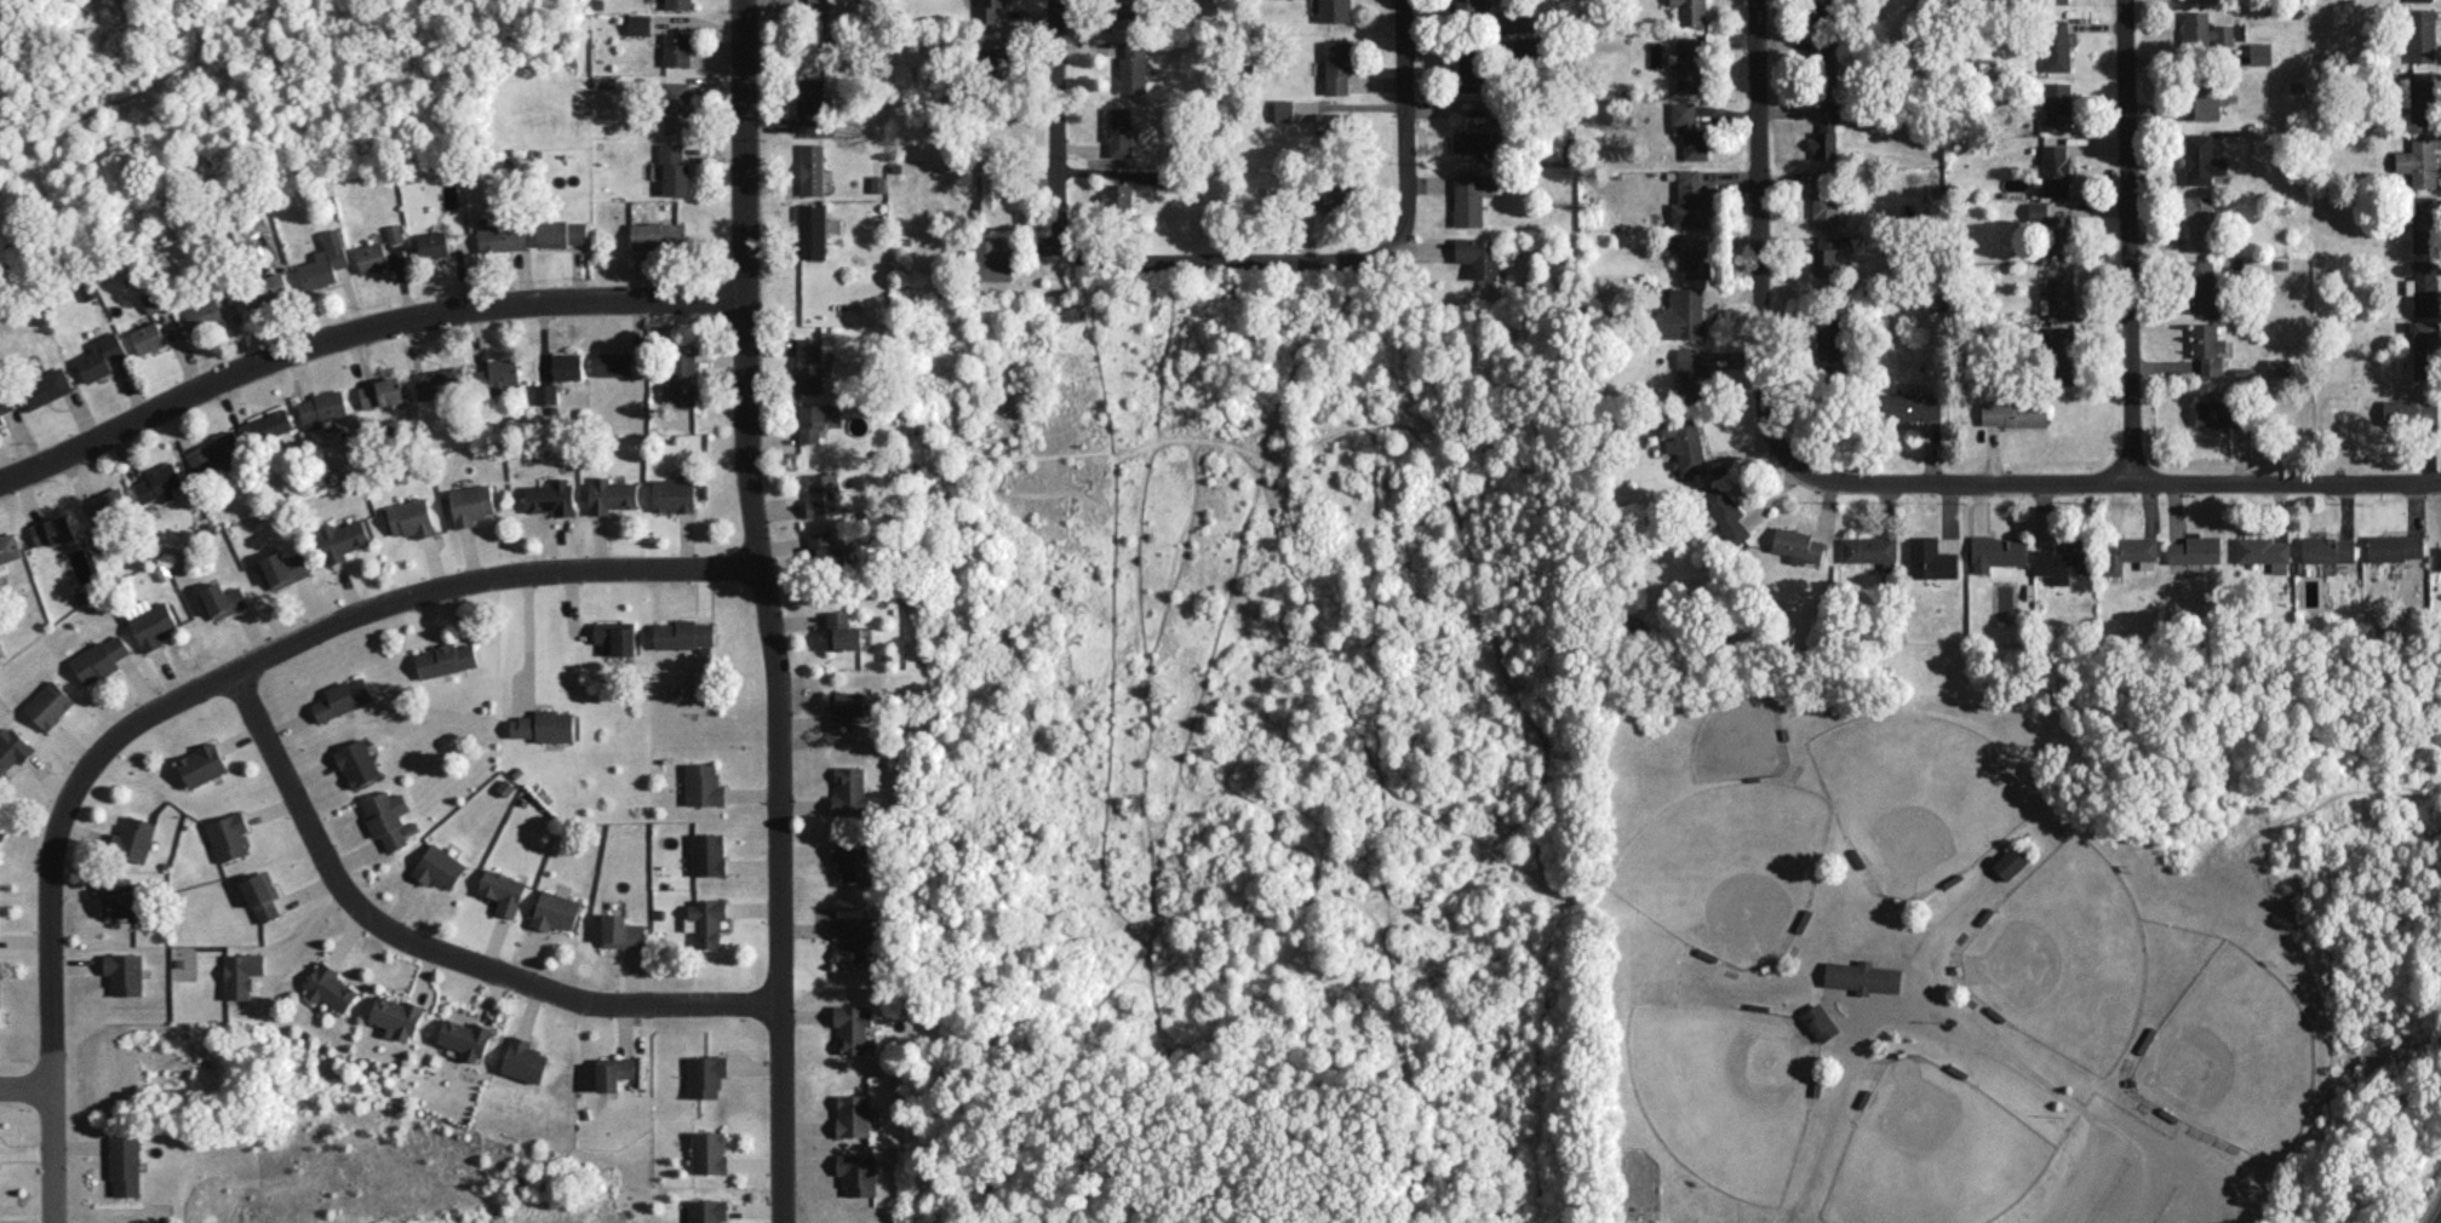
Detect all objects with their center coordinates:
building: (2419, 0)
building: (2055, 1)
building: (677, 4)
building: (816, 6)
building: (987, 10)
building: (1334, 10)
building: (1480, 10)
building: (1821, 10)
building: (1127, 11)
building: (1690, 11)
building: (640, 23)
building: (2204, 30)
building: (2420, 35)
building: (2057, 45)
building: (1526, 47)
building: (677, 48)
building: (2259, 52)
building: (996, 59)
building: (1823, 61)
building: (1689, 64)
building: (1337, 67)
building: (1133, 69)
building: (1471, 71)
building: (2419, 96)
building: (2058, 99)
building: (2205, 103)
building: (808, 104)
building: (676, 107)
building: (1283, 109)
building: (1331, 122)
road: (1055, 125)
road: (1405, 130)
building: (1689, 130)
building: (1118, 131)
building: (1826, 131)
building: (1473, 143)
building: (2201, 159)
building: (2418, 160)
building: (812, 168)
building: (2055, 170)
building: (674, 171)
building: (992, 196)
building: (1117, 196)
building: (1333, 197)
building: (1468, 199)
building: (1689, 201)
building: (1824, 209)
building: (2199, 222)
building: (2424, 223)
building: (2053, 228)
building: (812, 231)
building: (395, 232)
building: (562, 232)
building: (658, 234)
building: (502, 237)
building: (432, 243)
road: (2127, 243)
road: (1735, 251)
building: (1827, 254)
building: (1478, 255)
building: (371, 257)
building: (325, 260)
building: (992, 260)
building: (1697, 263)
road: (1227, 269)
building: (2204, 283)
building: (2426, 287)
building: (265, 289)
building: (2057, 292)
building: (153, 299)
building: (204, 312)
building: (1683, 314)
road: (359, 332)
building: (148, 337)
building: (1829, 345)
building: (2207, 348)
building: (2425, 349)
building: (103, 355)
building: (2061, 355)
building: (613, 363)
building: (809, 364)
building: (567, 366)
building: (2277, 366)
building: (682, 377)
building: (1691, 377)
building: (441, 381)
building: (44, 387)
building: (380, 392)
building: (545, 392)
building: (5, 404)
building: (1912, 406)
building: (322, 408)
building: (2410, 410)
building: (2213, 412)
building: (2013, 413)
building: (815, 419)
building: (267, 425)
building: (1684, 442)
building: (214, 453)
building: (159, 483)
road: (2111, 487)
building: (611, 494)
building: (674, 494)
building: (823, 494)
building: (551, 496)
building: (111, 501)
building: (471, 504)
building: (1724, 512)
building: (411, 517)
building: (52, 529)
building: (342, 539)
building: (1797, 545)
building: (2394, 546)
building: (2194, 549)
building: (2327, 549)
building: (8, 550)
building: (1870, 550)
building: (827, 551)
building: (1996, 551)
building: (2130, 552)
building: (2263, 552)
building: (1930, 558)
building: (2061, 561)
building: (285, 568)
building: (223, 598)
road: (769, 610)
building: (153, 625)
building: (842, 631)
building: (684, 635)
building: (615, 636)
road: (527, 641)
building: (99, 659)
building: (445, 659)
road: (194, 695)
building: (343, 697)
building: (50, 704)
building: (844, 708)
building: (544, 725)
building: (12, 747)
building: (357, 763)
building: (202, 764)
building: (704, 785)
building: (850, 792)
park: (1925, 799)
building: (386, 816)
building: (229, 836)
building: (133, 837)
building: (707, 854)
building: (852, 859)
building: (2010, 861)
building: (439, 866)
park: (1729, 868)
building: (503, 891)
building: (262, 895)
building: (125, 903)
building: (555, 911)
building: (705, 920)
building: (621, 931)
building: (850, 940)
road: (435, 954)
park: (2065, 961)
building: (125, 972)
building: (242, 974)
building: (1862, 976)
building: (330, 987)
building: (396, 1016)
building: (1820, 1022)
building: (852, 1027)
building: (465, 1038)
building: (523, 1060)
park: (2234, 1062)
road: (2013, 1063)
building: (613, 1072)
building: (706, 1075)
road: (25, 1090)
park: (1730, 1095)
building: (853, 1115)
building: (709, 1152)
park: (1936, 1155)
road: (2161, 1155)
building: (125, 1165)
building: (858, 1172)
road: (2078, 1176)
building: (707, 1211)

